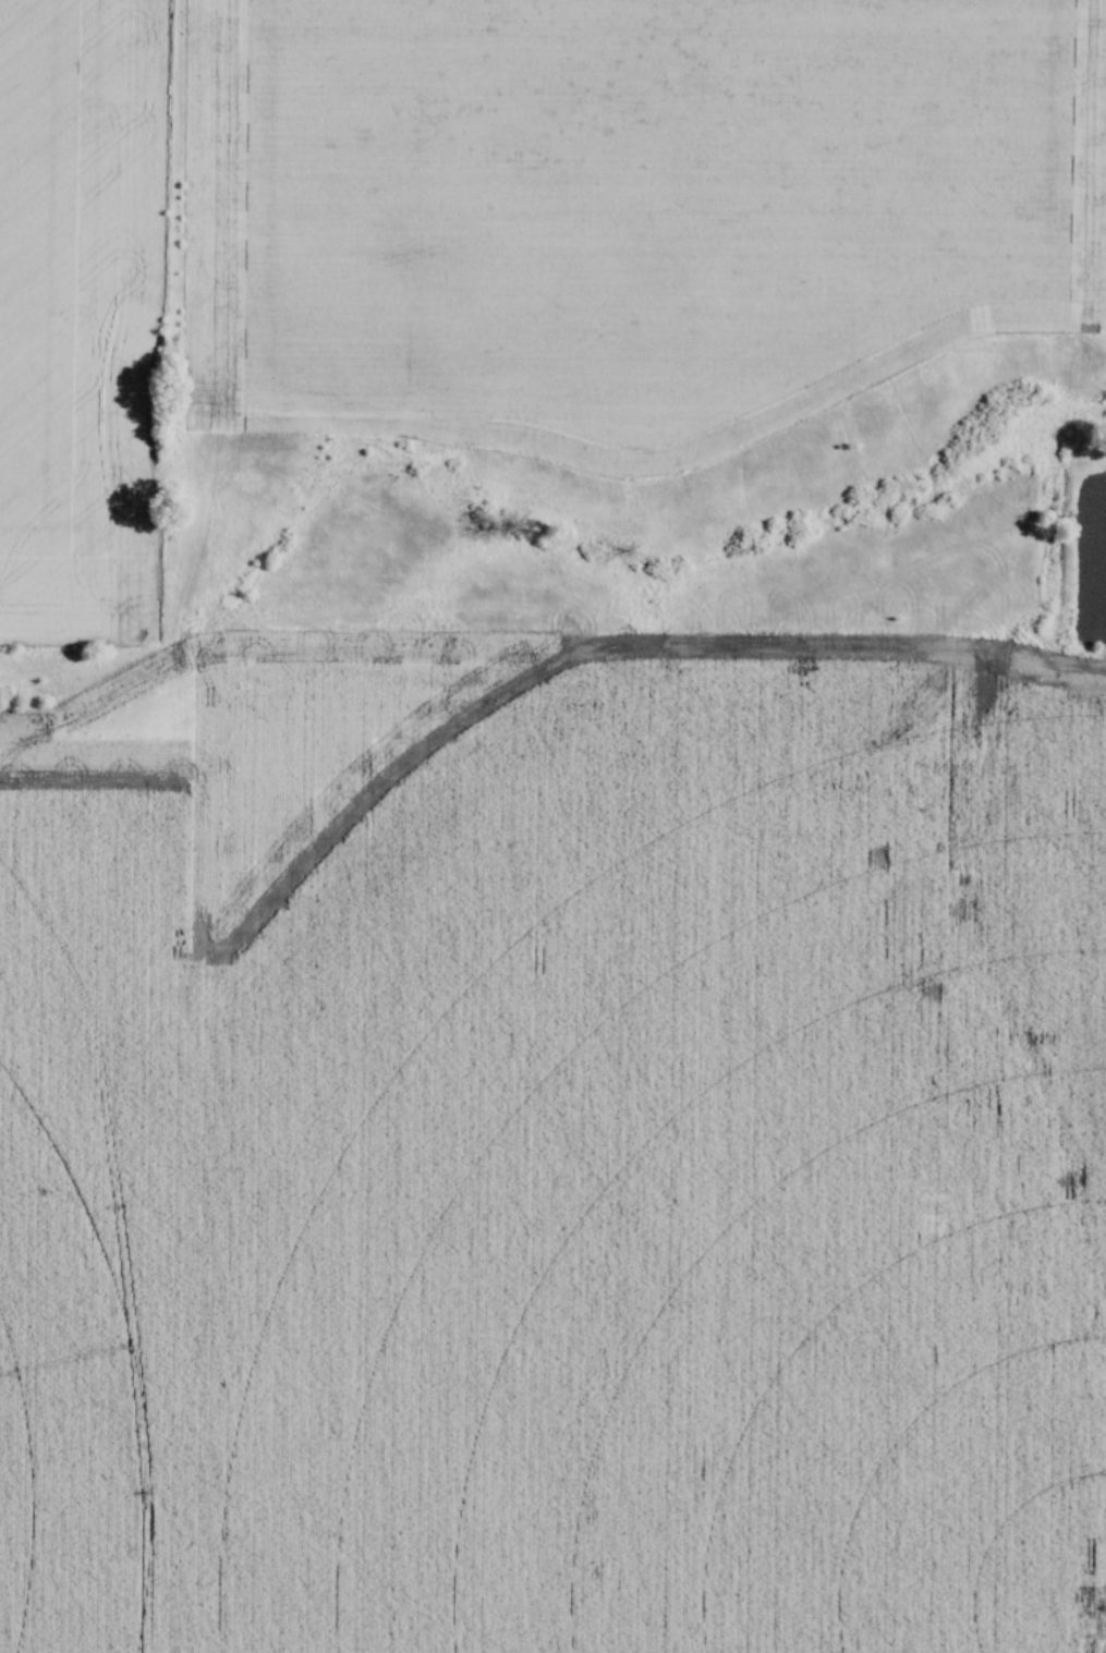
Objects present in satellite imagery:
crop: (630, 208)
crop: (80, 315)
crop: (556, 1148)

